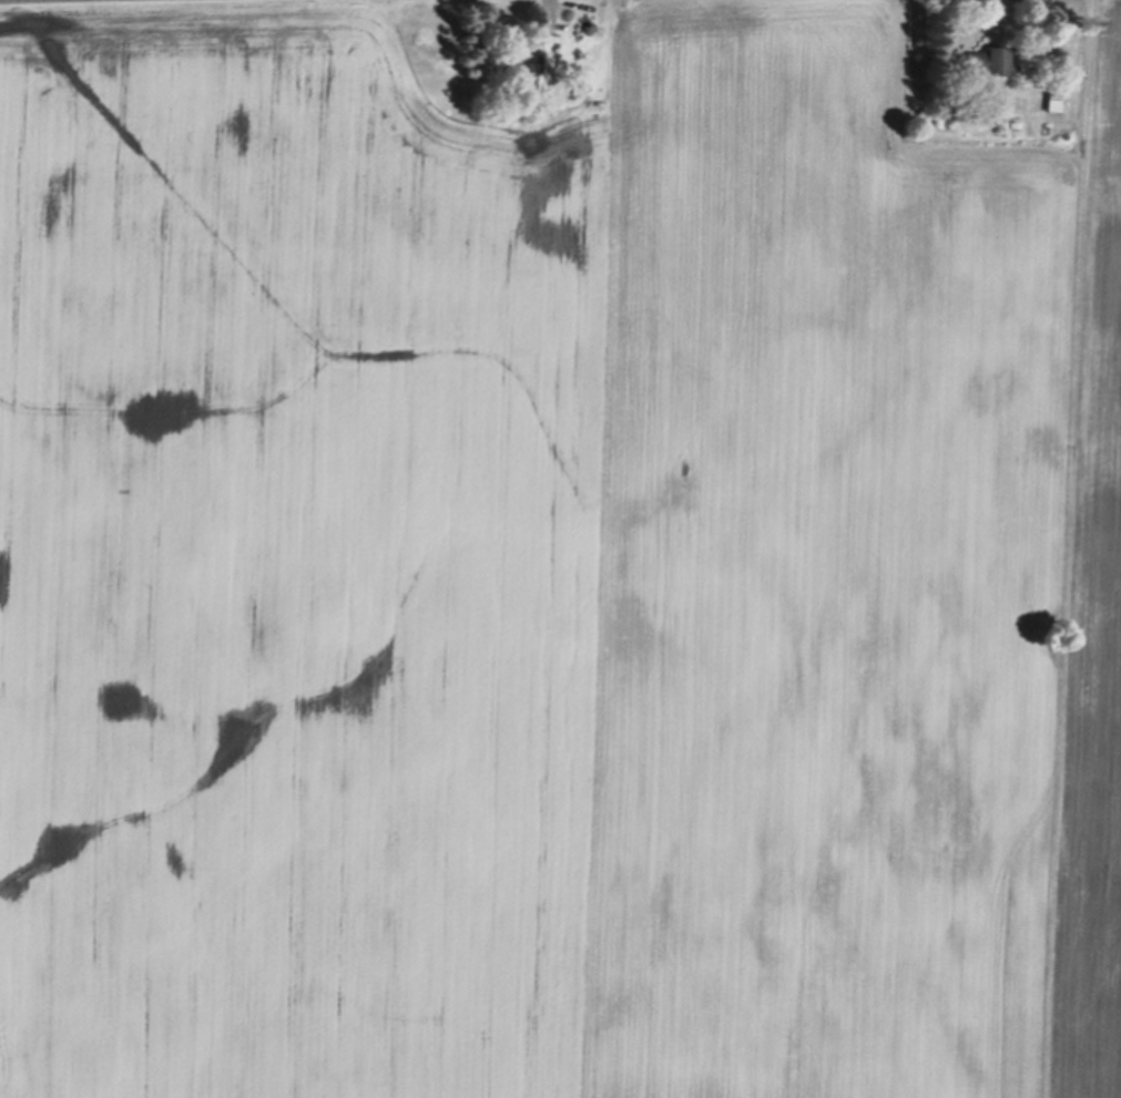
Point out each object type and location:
road: (999, 1)
road: (548, 7)
building: (981, 58)
building: (519, 59)
building: (1051, 100)

